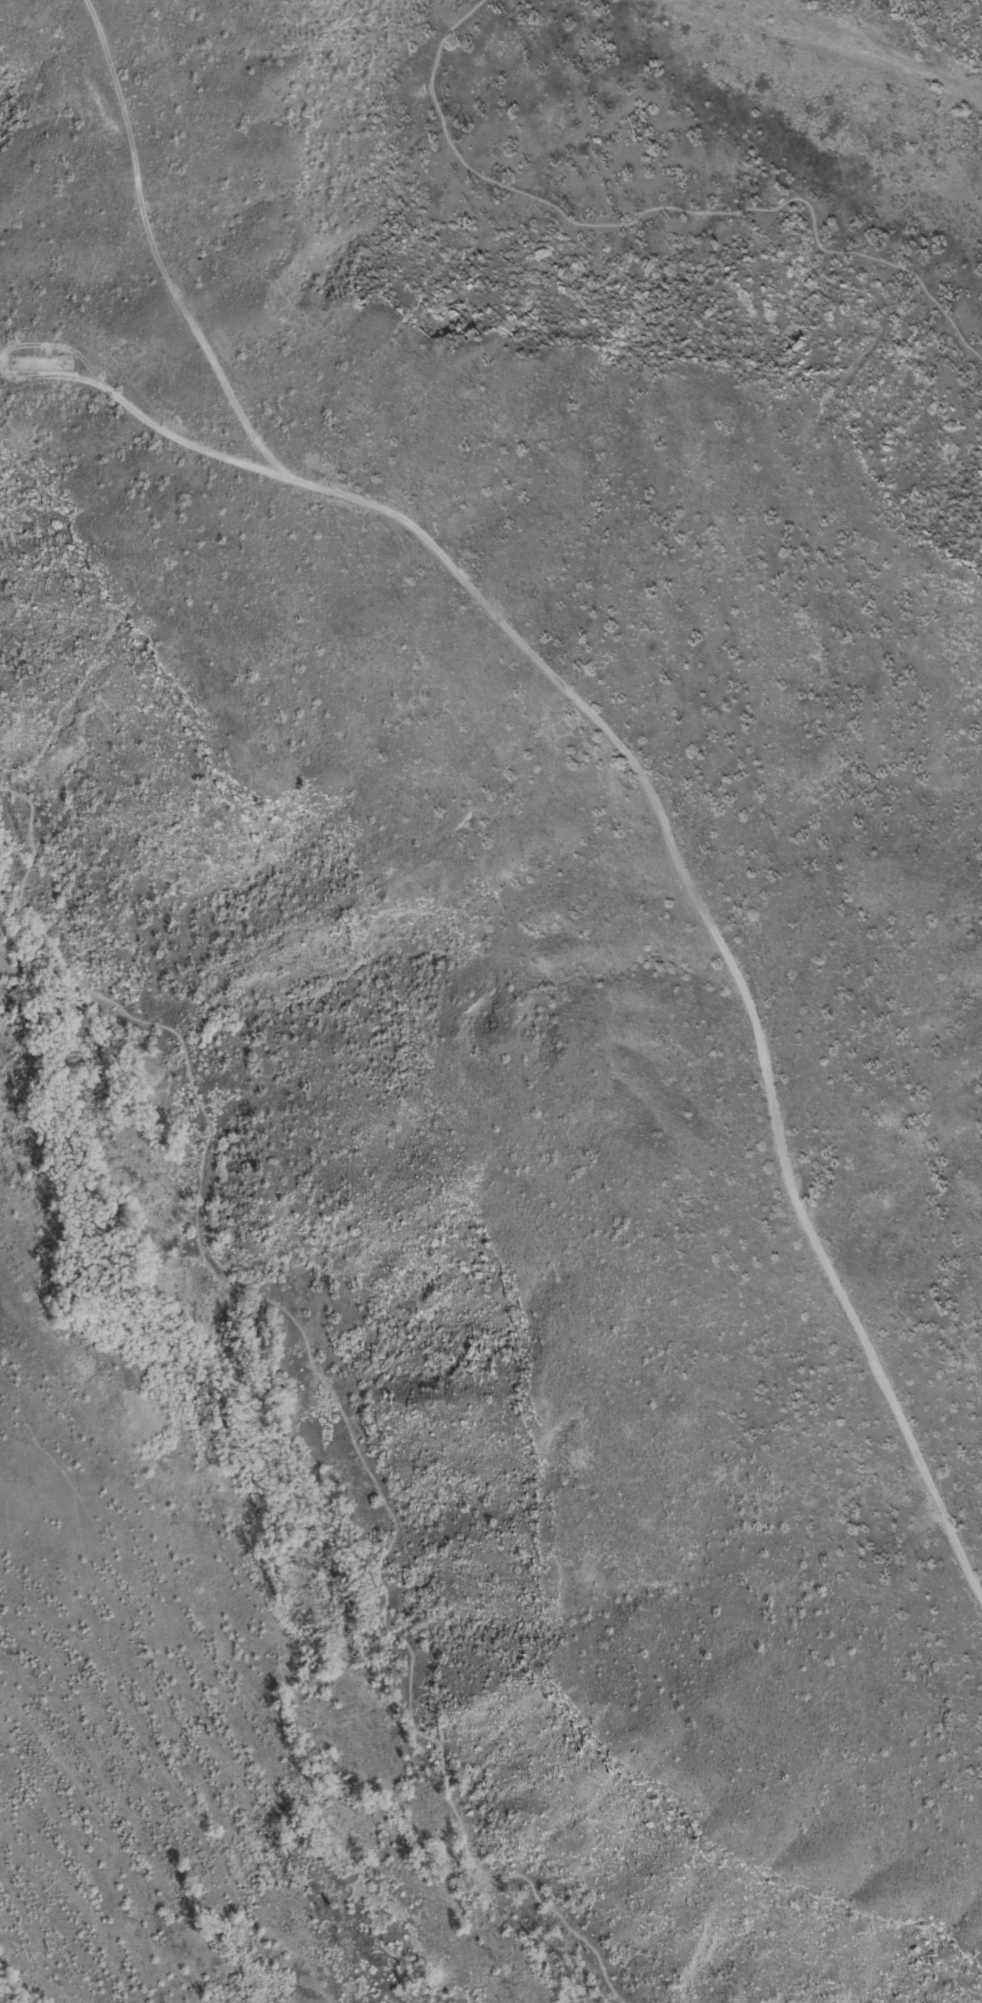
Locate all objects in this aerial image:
road: (281, 459)
road: (803, 1227)

